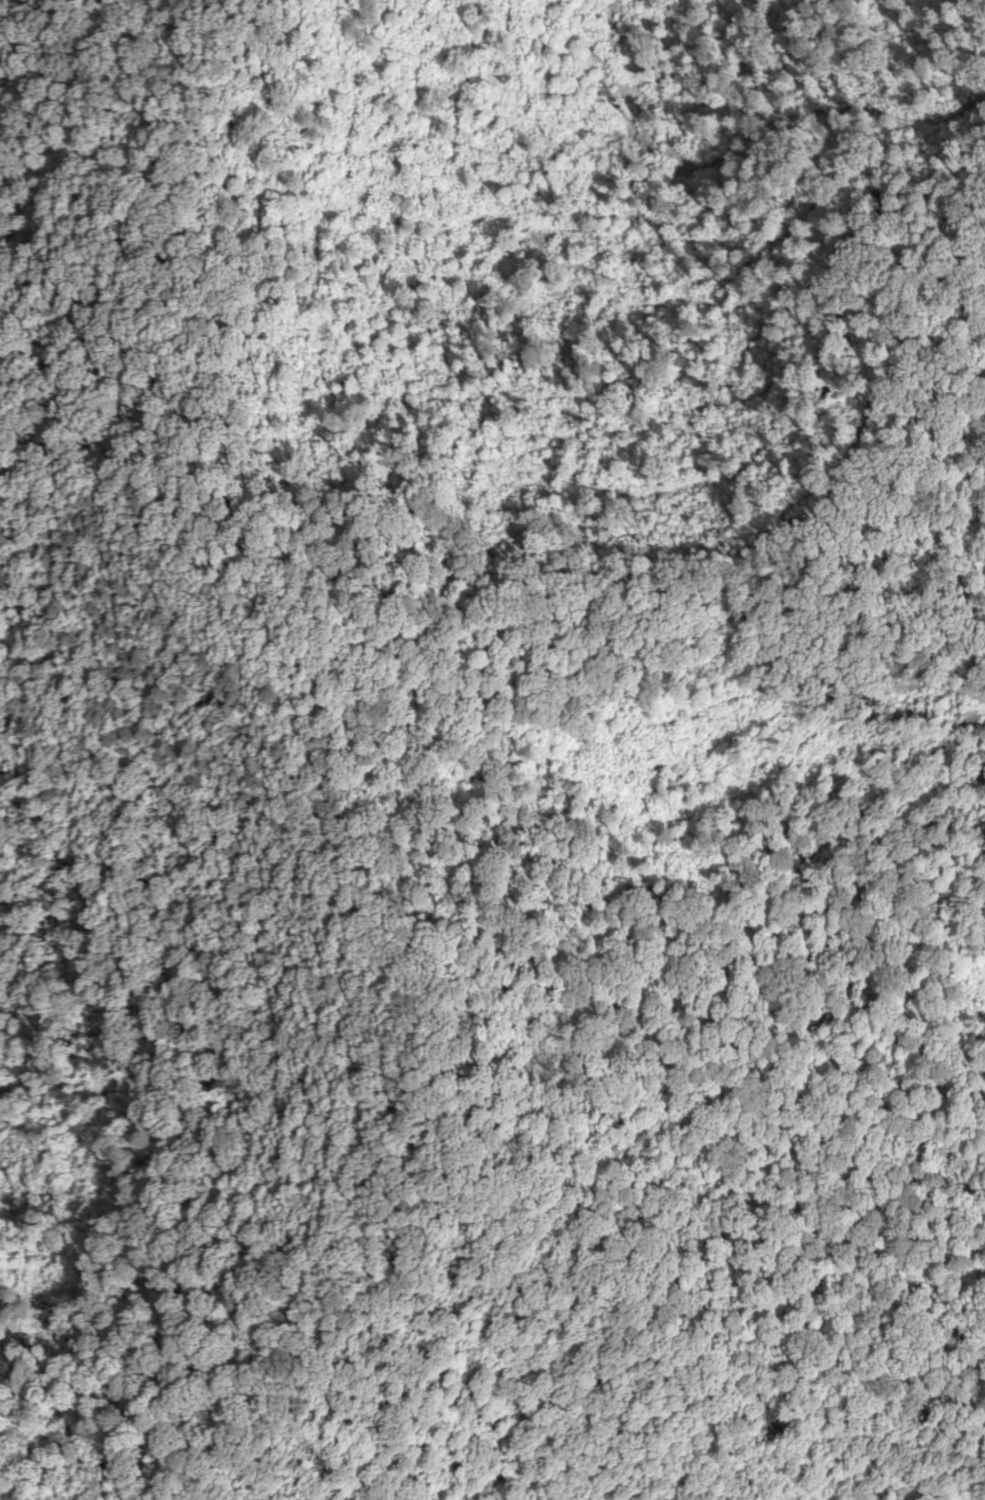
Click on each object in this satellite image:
road: (258, 1403)

